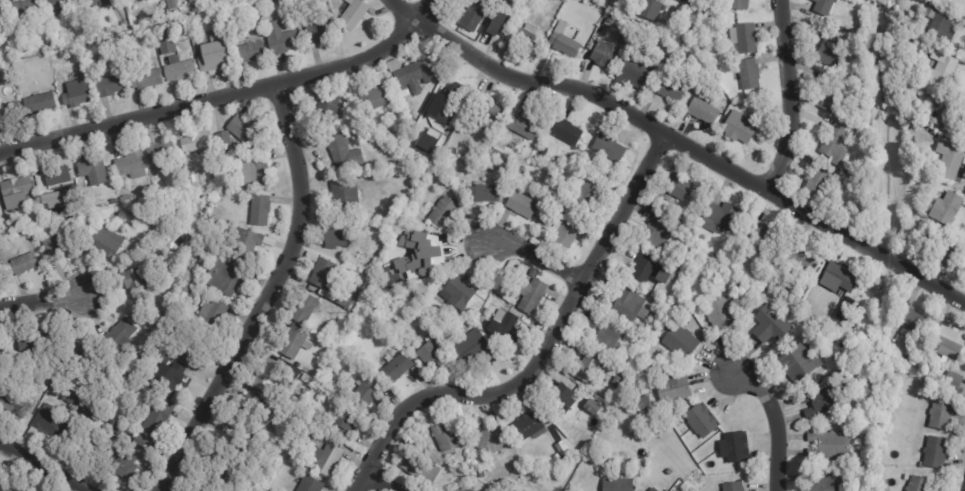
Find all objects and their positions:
building: (143, 0)
building: (507, 0)
building: (512, 0)
building: (565, 0)
building: (129, 1)
building: (285, 1)
building: (684, 1)
building: (99, 3)
building: (197, 3)
building: (692, 5)
building: (738, 5)
building: (61, 6)
road: (406, 6)
road: (419, 6)
building: (822, 7)
building: (663, 8)
building: (650, 9)
building: (24, 10)
building: (510, 10)
building: (500, 12)
building: (2, 14)
building: (352, 14)
building: (474, 14)
building: (216, 15)
building: (692, 17)
building: (208, 18)
building: (610, 21)
building: (939, 23)
building: (230, 25)
building: (530, 29)
building: (318, 31)
building: (745, 38)
building: (526, 39)
building: (282, 42)
building: (563, 42)
building: (48, 44)
building: (248, 53)
building: (831, 54)
building: (605, 55)
building: (212, 57)
building: (172, 58)
building: (945, 70)
building: (453, 71)
building: (634, 73)
building: (412, 75)
building: (749, 75)
building: (145, 79)
building: (109, 85)
building: (668, 88)
building: (347, 90)
building: (76, 93)
building: (448, 95)
road: (781, 97)
building: (835, 98)
building: (374, 100)
road: (216, 102)
building: (38, 103)
building: (405, 106)
building: (488, 110)
building: (703, 110)
building: (945, 110)
building: (326, 111)
building: (9, 112)
building: (408, 114)
building: (353, 116)
building: (929, 126)
building: (522, 127)
building: (739, 128)
building: (241, 130)
building: (567, 132)
building: (448, 134)
building: (196, 142)
building: (223, 144)
building: (833, 144)
building: (609, 149)
building: (498, 150)
building: (159, 152)
building: (415, 153)
road: (690, 153)
building: (343, 154)
building: (534, 154)
building: (948, 161)
building: (130, 166)
building: (91, 171)
building: (253, 172)
building: (54, 177)
building: (819, 180)
building: (675, 186)
building: (15, 188)
building: (486, 193)
building: (220, 194)
building: (586, 194)
building: (342, 195)
building: (124, 201)
building: (552, 205)
building: (521, 206)
building: (946, 209)
building: (259, 211)
building: (443, 212)
building: (39, 217)
building: (390, 217)
building: (720, 218)
building: (414, 220)
building: (212, 223)
building: (567, 232)
building: (657, 232)
building: (762, 236)
building: (338, 237)
building: (58, 242)
building: (247, 243)
building: (102, 244)
building: (949, 252)
building: (204, 257)
building: (310, 257)
building: (432, 258)
road: (536, 259)
building: (802, 259)
building: (22, 265)
building: (646, 271)
building: (190, 275)
building: (325, 276)
building: (224, 278)
building: (776, 278)
building: (759, 279)
building: (837, 279)
building: (674, 283)
building: (135, 284)
building: (185, 288)
building: (671, 293)
building: (816, 293)
building: (458, 294)
road: (262, 295)
building: (530, 295)
building: (345, 298)
building: (666, 299)
road: (38, 305)
building: (629, 307)
building: (304, 309)
building: (811, 311)
building: (661, 312)
building: (720, 315)
building: (212, 316)
building: (481, 320)
building: (912, 321)
building: (334, 324)
building: (771, 325)
building: (505, 331)
building: (608, 337)
building: (119, 339)
building: (679, 342)
building: (294, 343)
building: (949, 344)
building: (35, 346)
building: (469, 348)
building: (190, 349)
road: (536, 351)
building: (80, 355)
building: (431, 355)
building: (897, 358)
building: (799, 363)
building: (397, 368)
building: (587, 369)
building: (265, 377)
building: (953, 380)
building: (169, 381)
building: (616, 382)
building: (637, 384)
building: (130, 389)
building: (676, 389)
building: (644, 392)
building: (365, 393)
building: (63, 397)
building: (561, 399)
building: (824, 401)
building: (73, 402)
building: (13, 405)
building: (591, 408)
building: (644, 408)
building: (254, 410)
building: (93, 414)
building: (941, 415)
building: (155, 417)
building: (700, 421)
building: (655, 422)
building: (46, 424)
building: (347, 424)
road: (770, 425)
building: (527, 428)
building: (445, 439)
building: (489, 441)
building: (85, 443)
building: (141, 443)
building: (830, 446)
building: (561, 449)
building: (735, 449)
building: (245, 451)
building: (936, 453)
building: (556, 458)
building: (325, 459)
building: (119, 465)
road: (40, 468)
building: (467, 469)
building: (420, 470)
building: (669, 472)
building: (481, 476)
building: (212, 477)
building: (823, 483)
road: (379, 484)
building: (918, 484)
building: (309, 485)
building: (507, 485)
building: (617, 485)
building: (733, 487)
building: (1, 488)
building: (653, 490)

